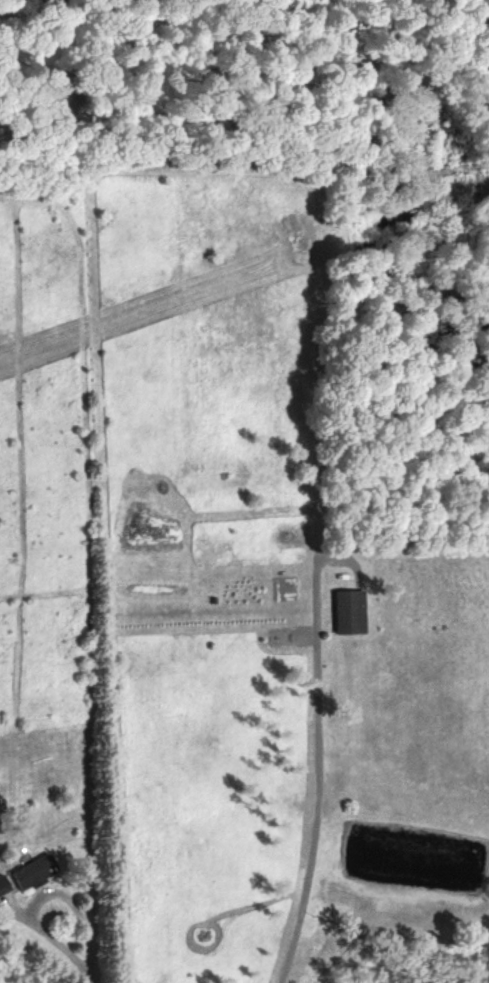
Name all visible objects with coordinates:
building: (346, 615)
road: (320, 804)
building: (35, 876)
building: (3, 888)
road: (76, 942)

